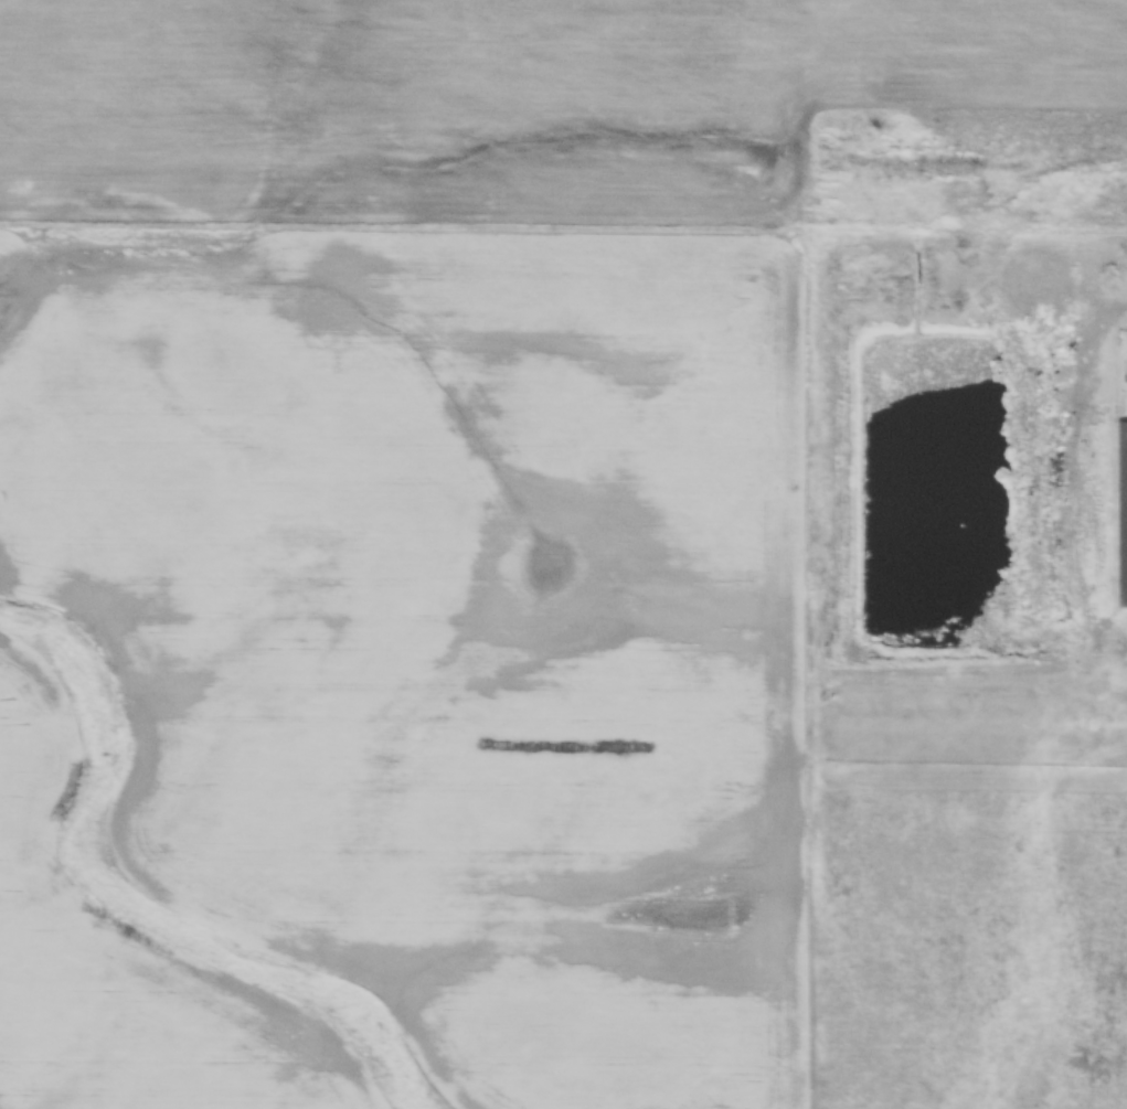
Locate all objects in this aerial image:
building: (1120, 463)

